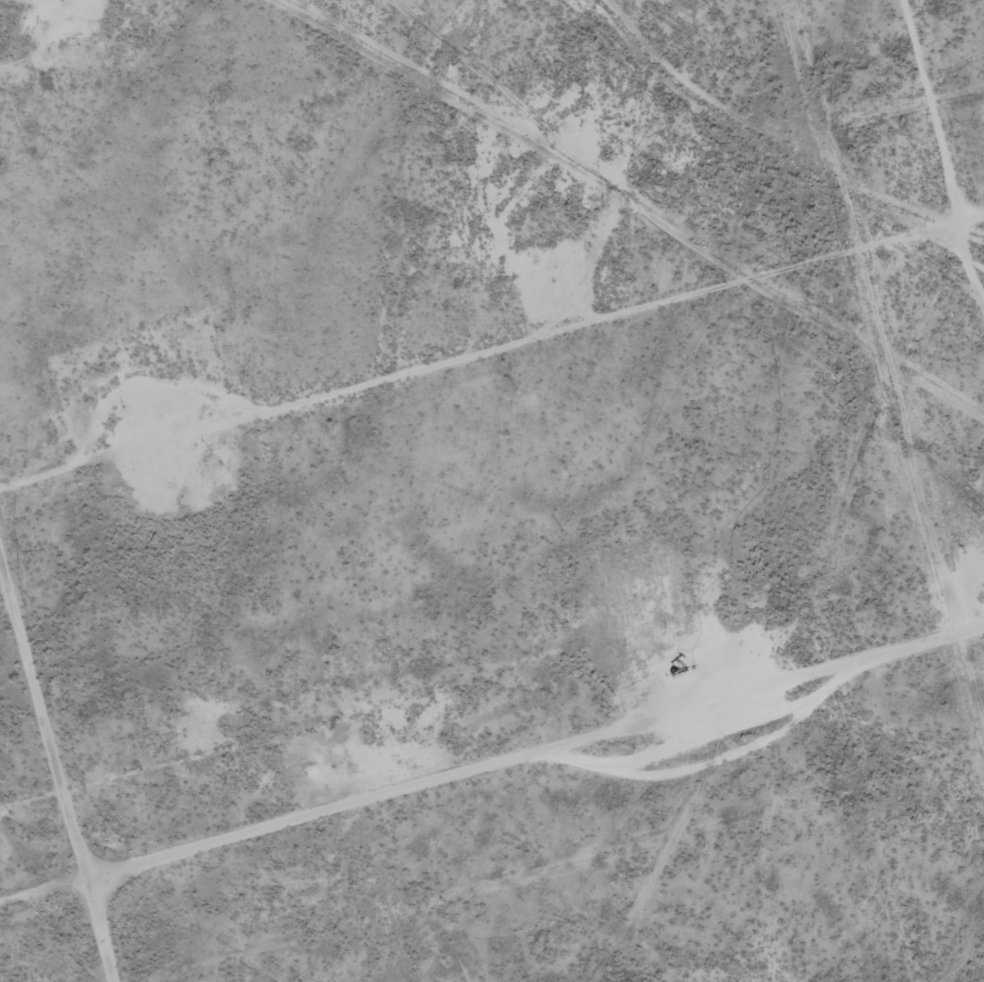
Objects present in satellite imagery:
road: (64, 745)
road: (491, 746)

